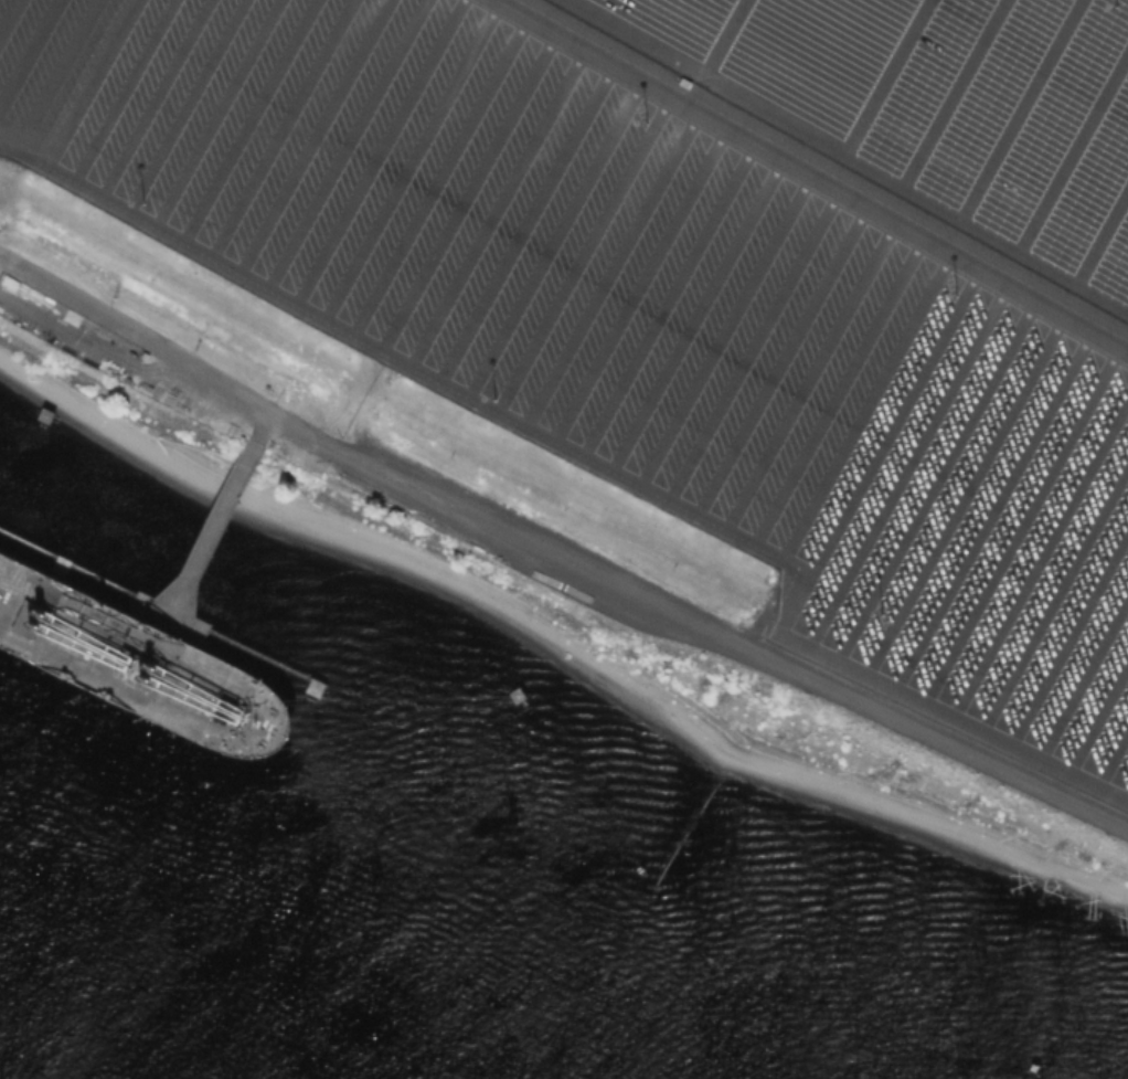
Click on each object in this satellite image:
road: (722, 38)
road: (693, 89)
road: (848, 156)
road: (809, 172)
road: (608, 447)
pier: (213, 531)
pier: (198, 558)
road: (555, 562)
pier: (162, 611)

